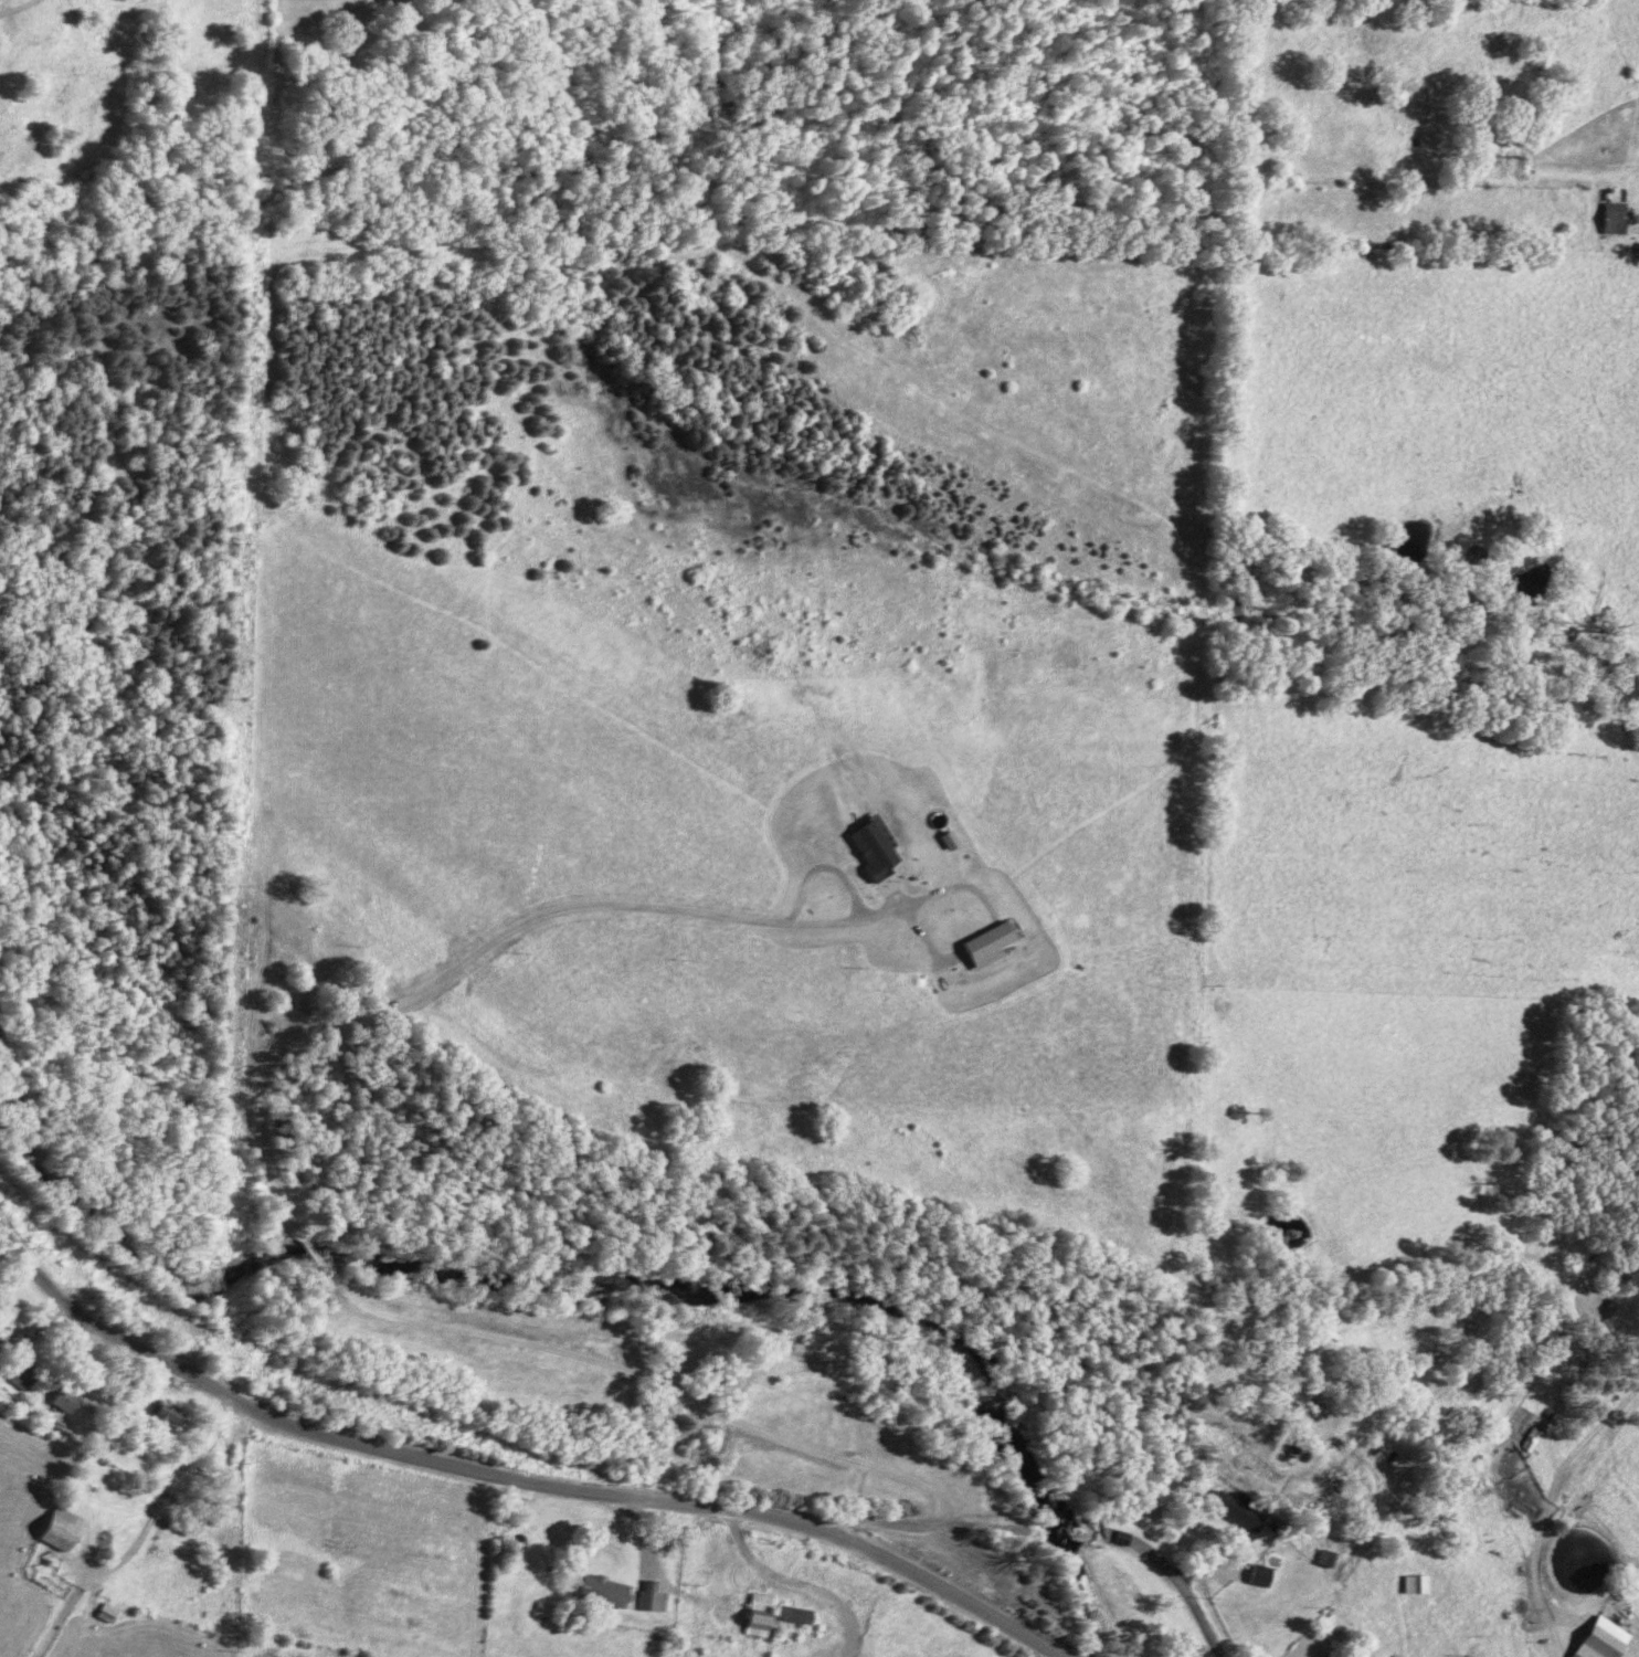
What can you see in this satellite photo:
building: (1622, 217)
building: (880, 848)
building: (997, 942)
building: (0, 1352)
building: (28, 1375)
building: (71, 1397)
building: (172, 1415)
road: (516, 1477)
road: (168, 1492)
building: (1243, 1508)
building: (64, 1527)
road: (1056, 1532)
building: (1267, 1573)
road: (723, 1582)
building: (1421, 1583)
road: (1533, 1583)
building: (609, 1590)
building: (658, 1596)
building: (764, 1613)
building: (800, 1613)
building: (1606, 1639)

